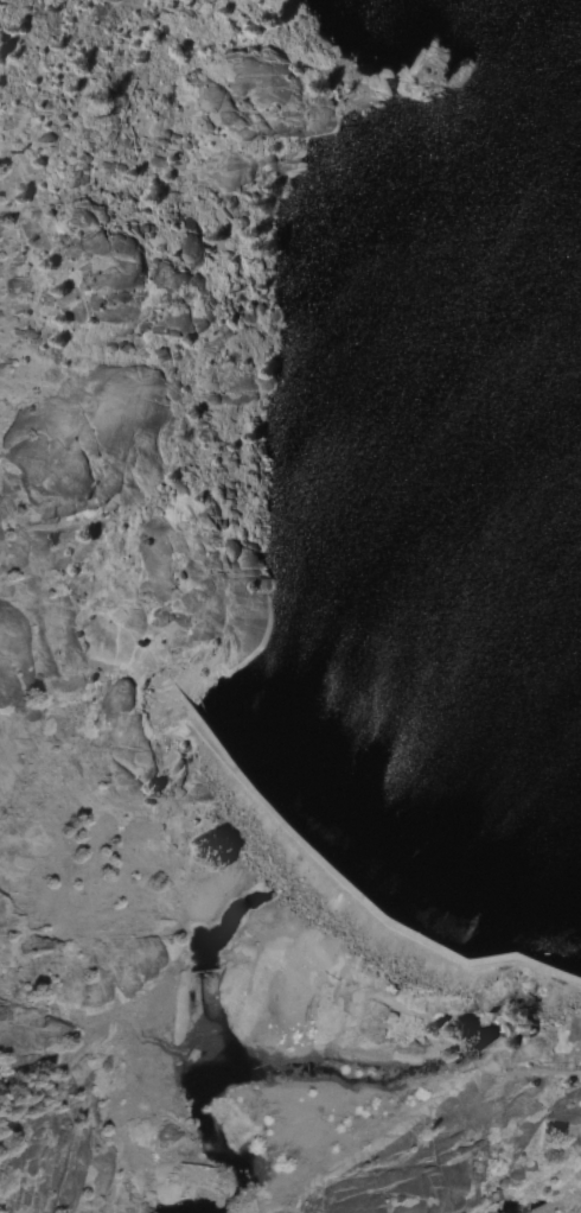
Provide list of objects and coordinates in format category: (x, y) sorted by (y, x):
road: (18, 33)
road: (206, 348)
dam: (358, 881)

